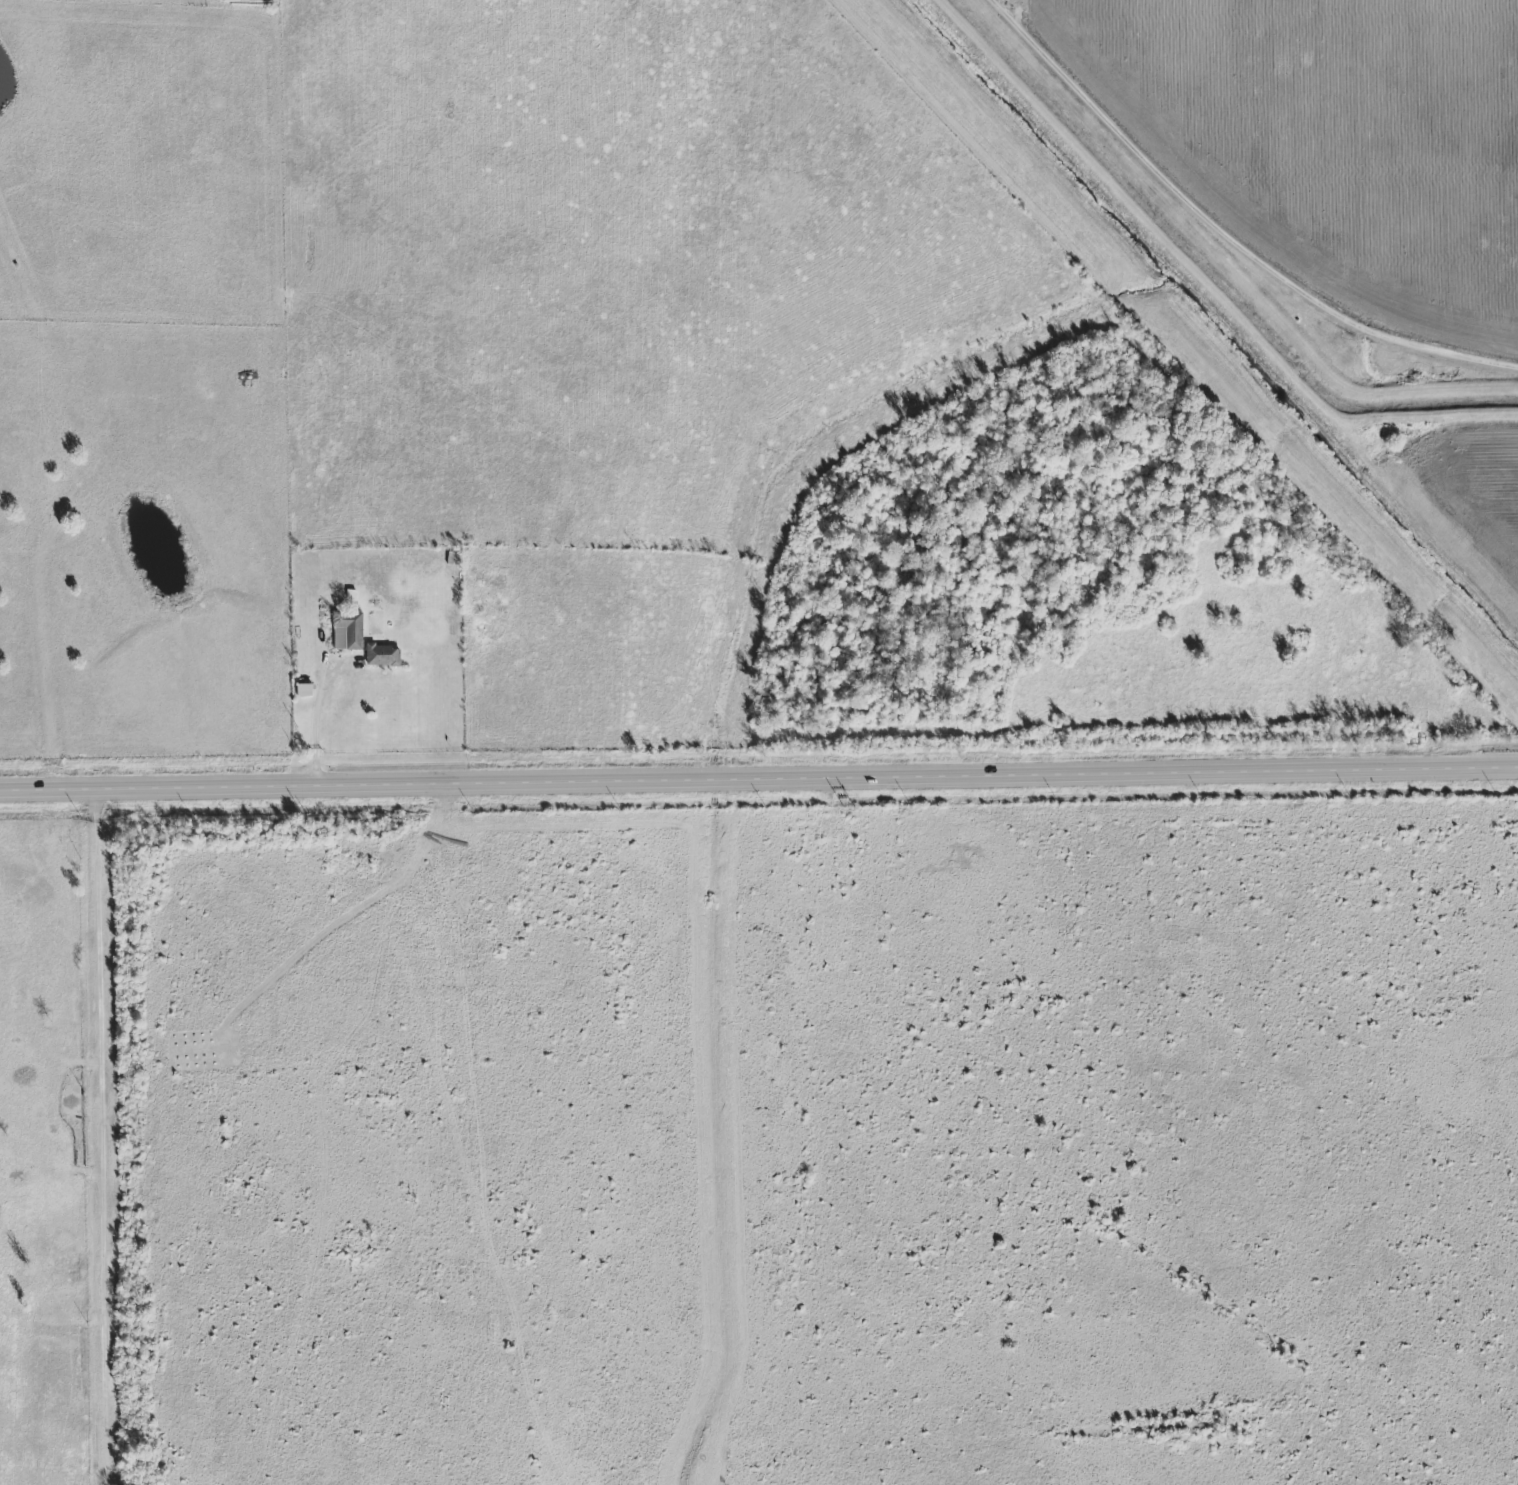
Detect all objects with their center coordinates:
road: (1007, 24)
road: (1231, 263)
building: (349, 631)
building: (384, 655)
building: (304, 690)
road: (758, 780)
road: (104, 1138)

